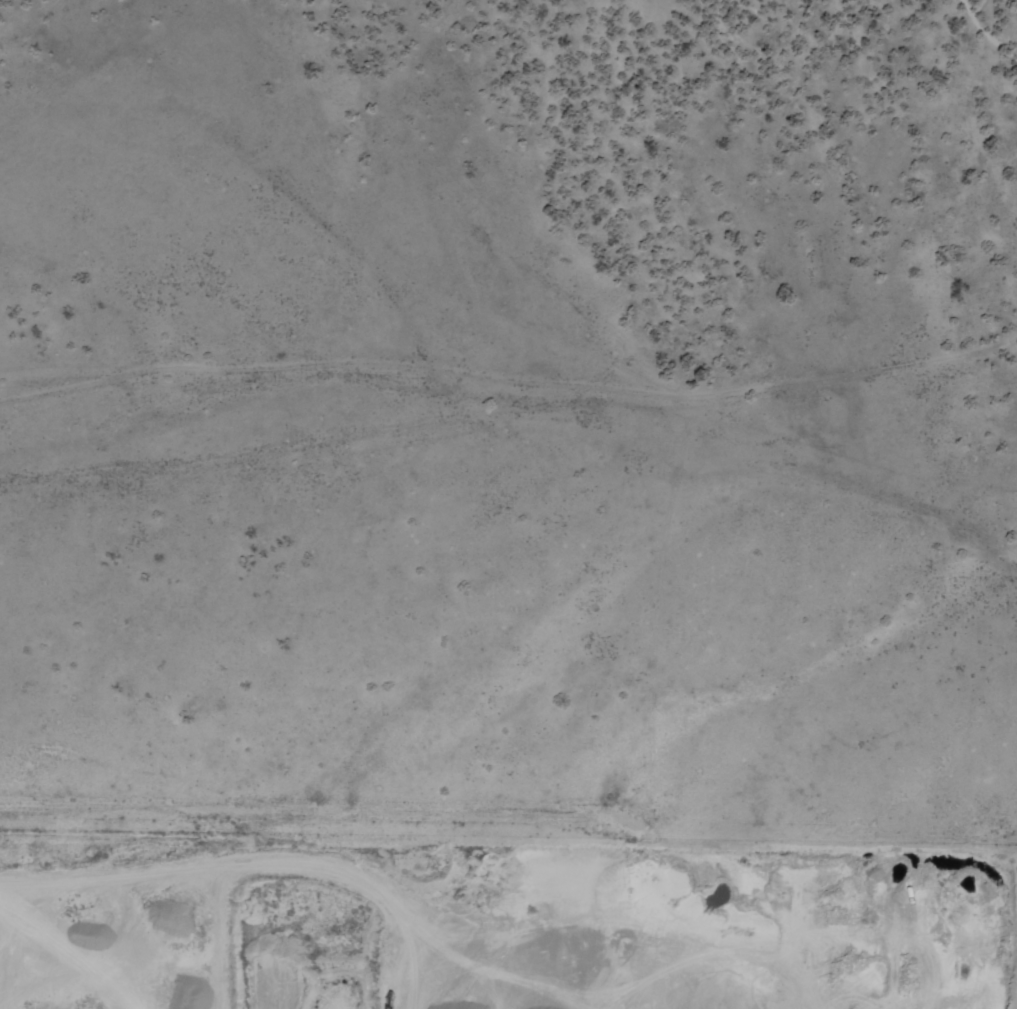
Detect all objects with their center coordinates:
road: (507, 389)

